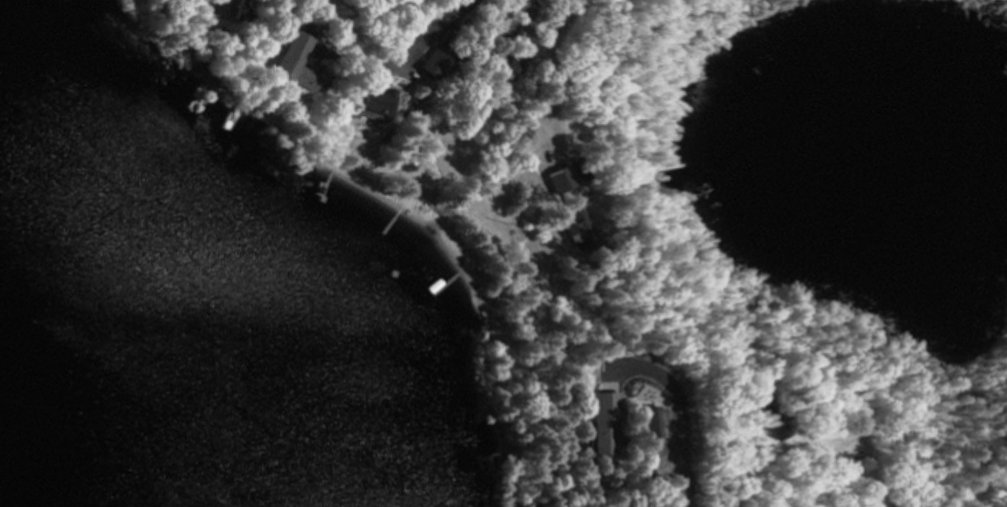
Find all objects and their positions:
building: (213, 8)
road: (441, 14)
building: (511, 58)
building: (421, 60)
building: (280, 62)
building: (362, 103)
building: (518, 135)
building: (578, 172)
building: (558, 179)
building: (577, 229)
building: (762, 409)
building: (594, 417)
building: (642, 419)
road: (676, 454)
road: (852, 478)

